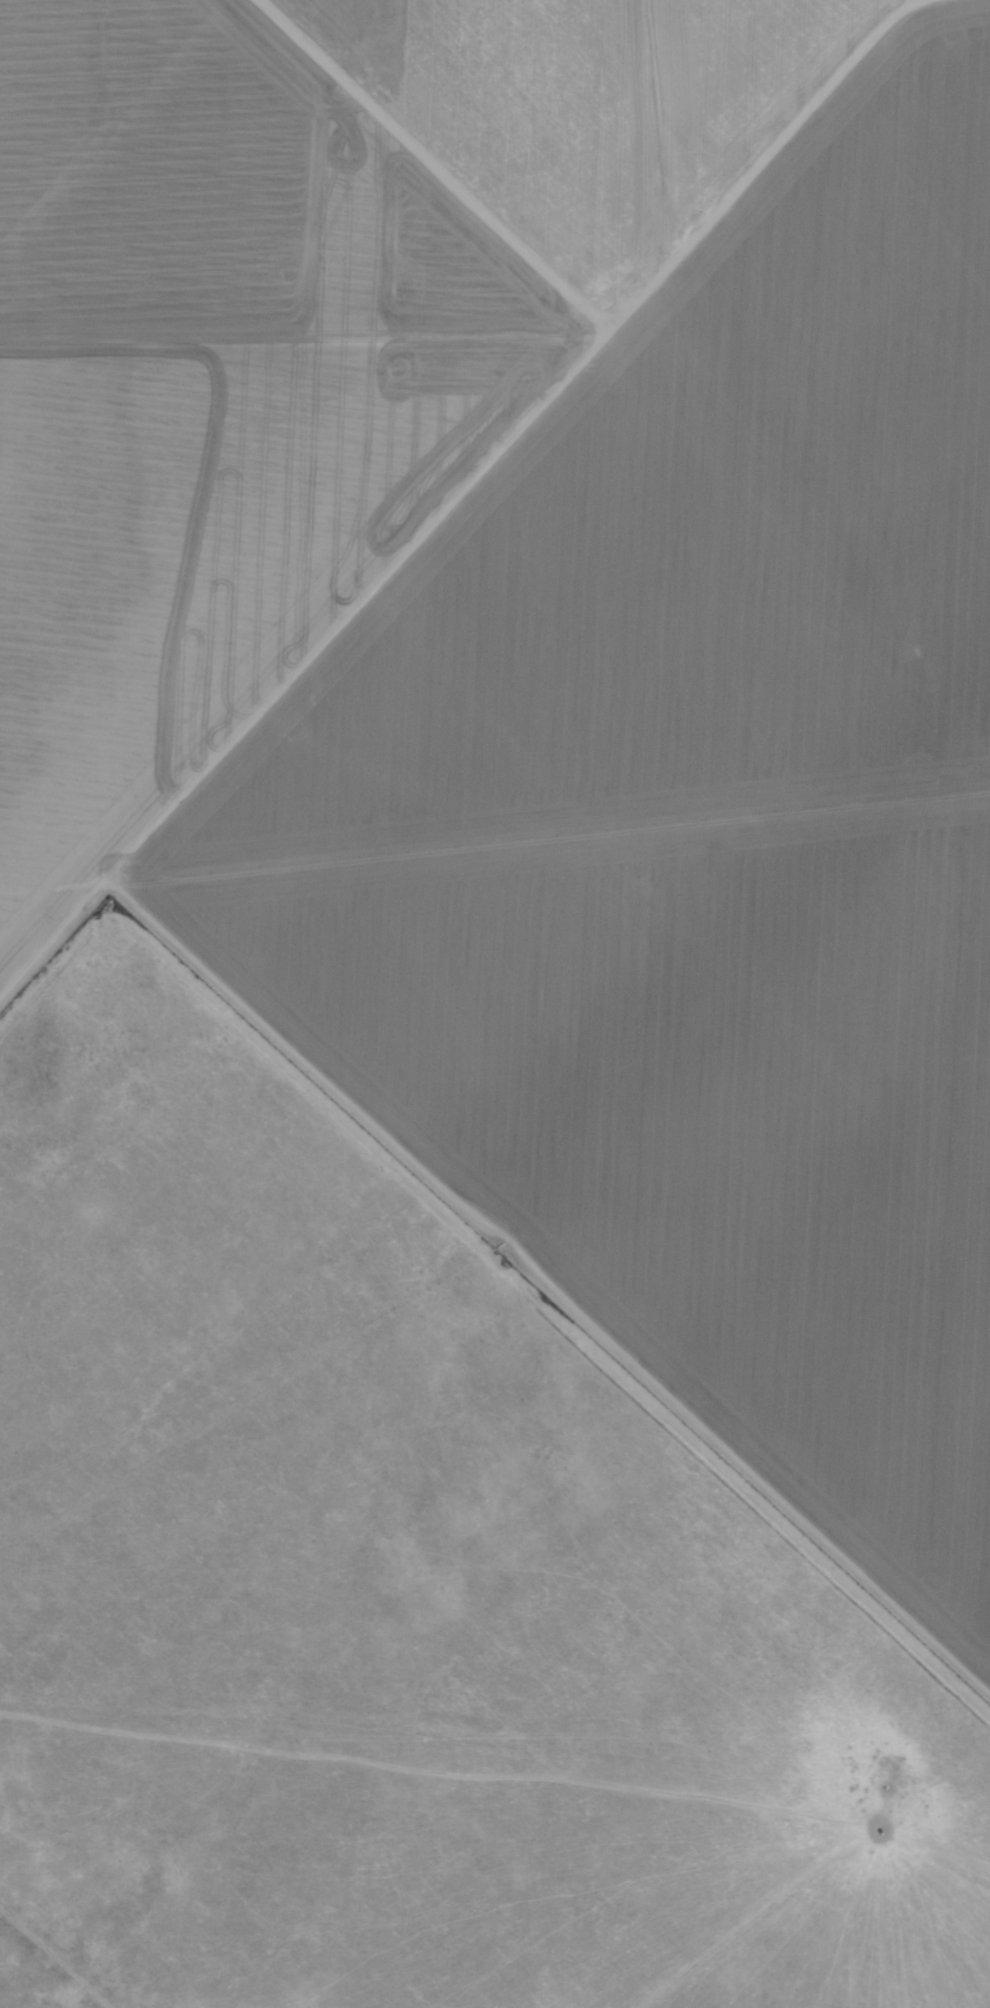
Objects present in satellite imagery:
crop: (118, 407)
crop: (741, 768)

